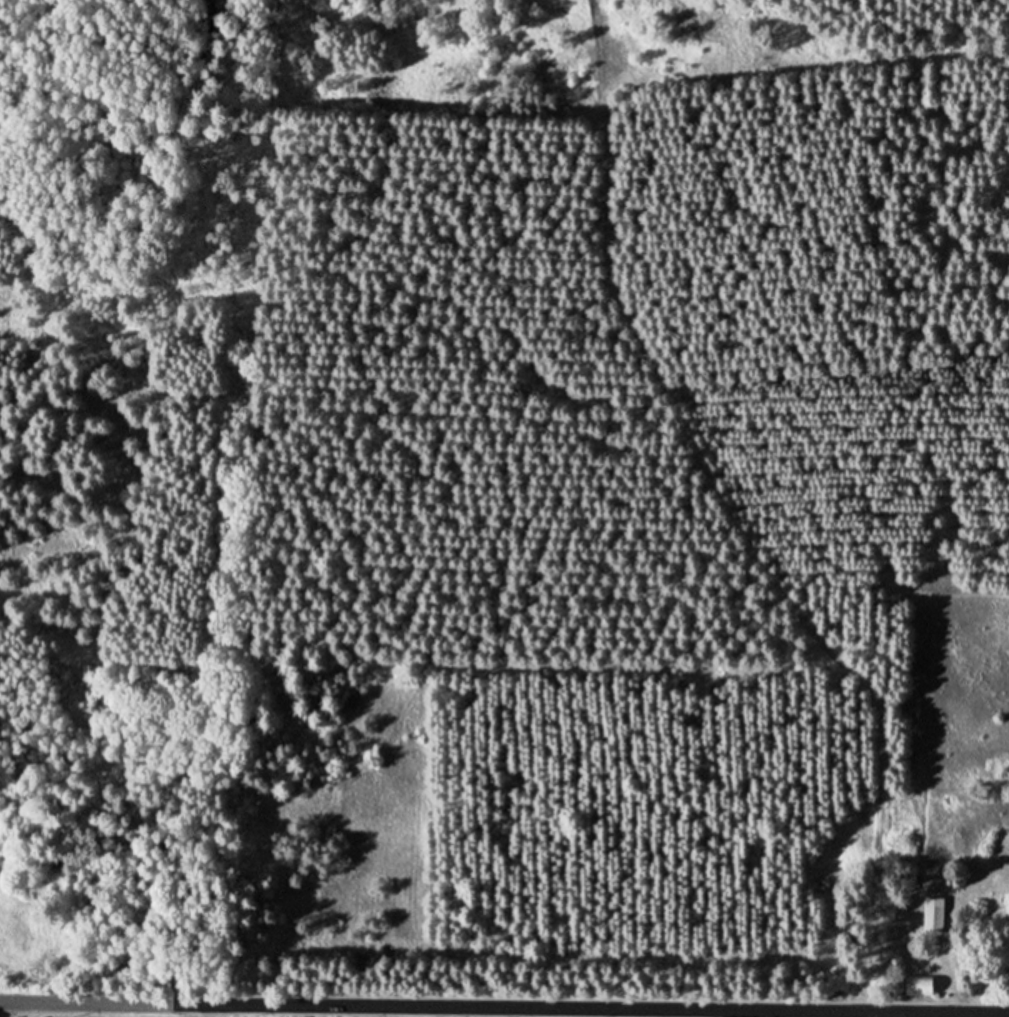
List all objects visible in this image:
building: (930, 915)
building: (914, 986)
road: (504, 1006)
road: (27, 1009)
road: (875, 1013)

